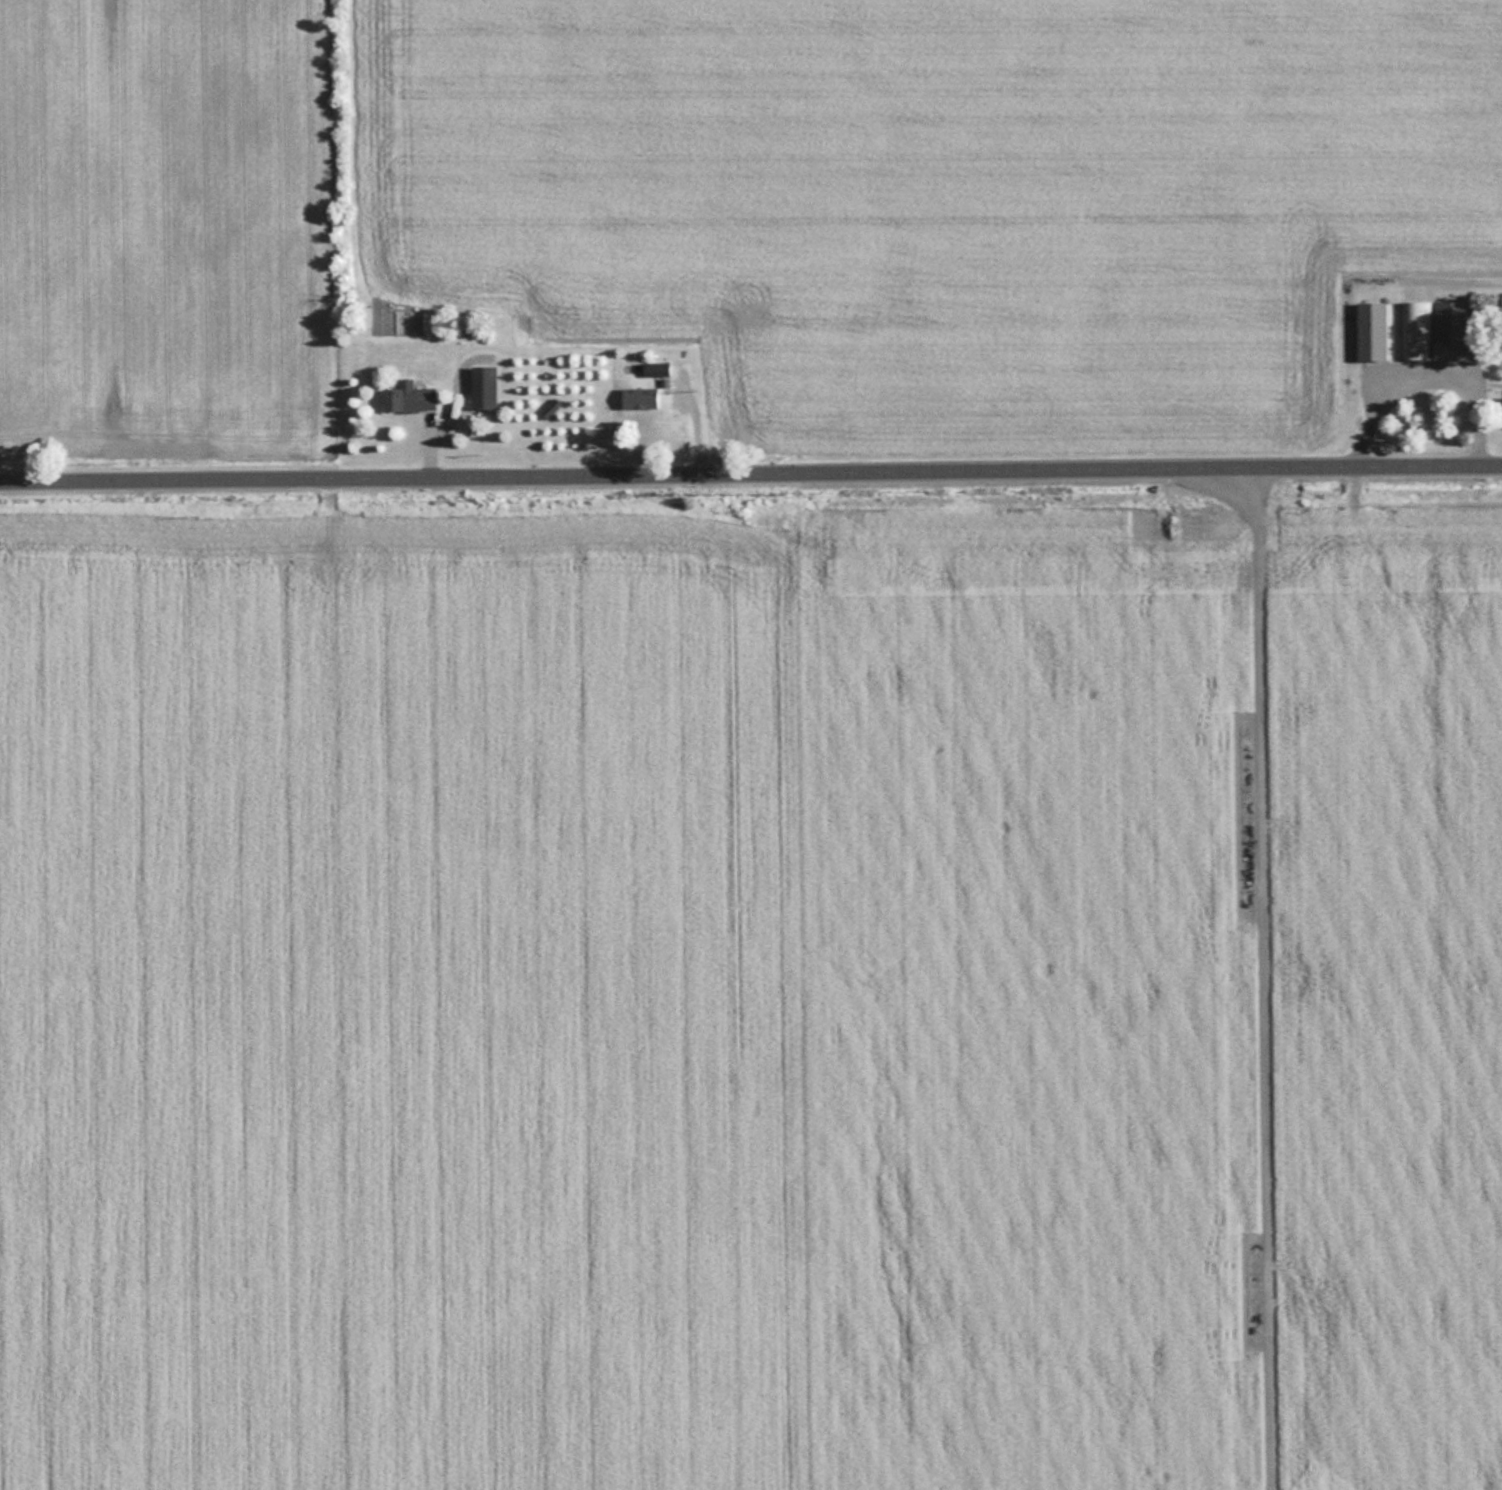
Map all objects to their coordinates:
building: (1416, 329)
building: (1372, 330)
building: (1451, 331)
building: (656, 368)
building: (484, 386)
building: (409, 397)
building: (640, 397)
road: (750, 474)

